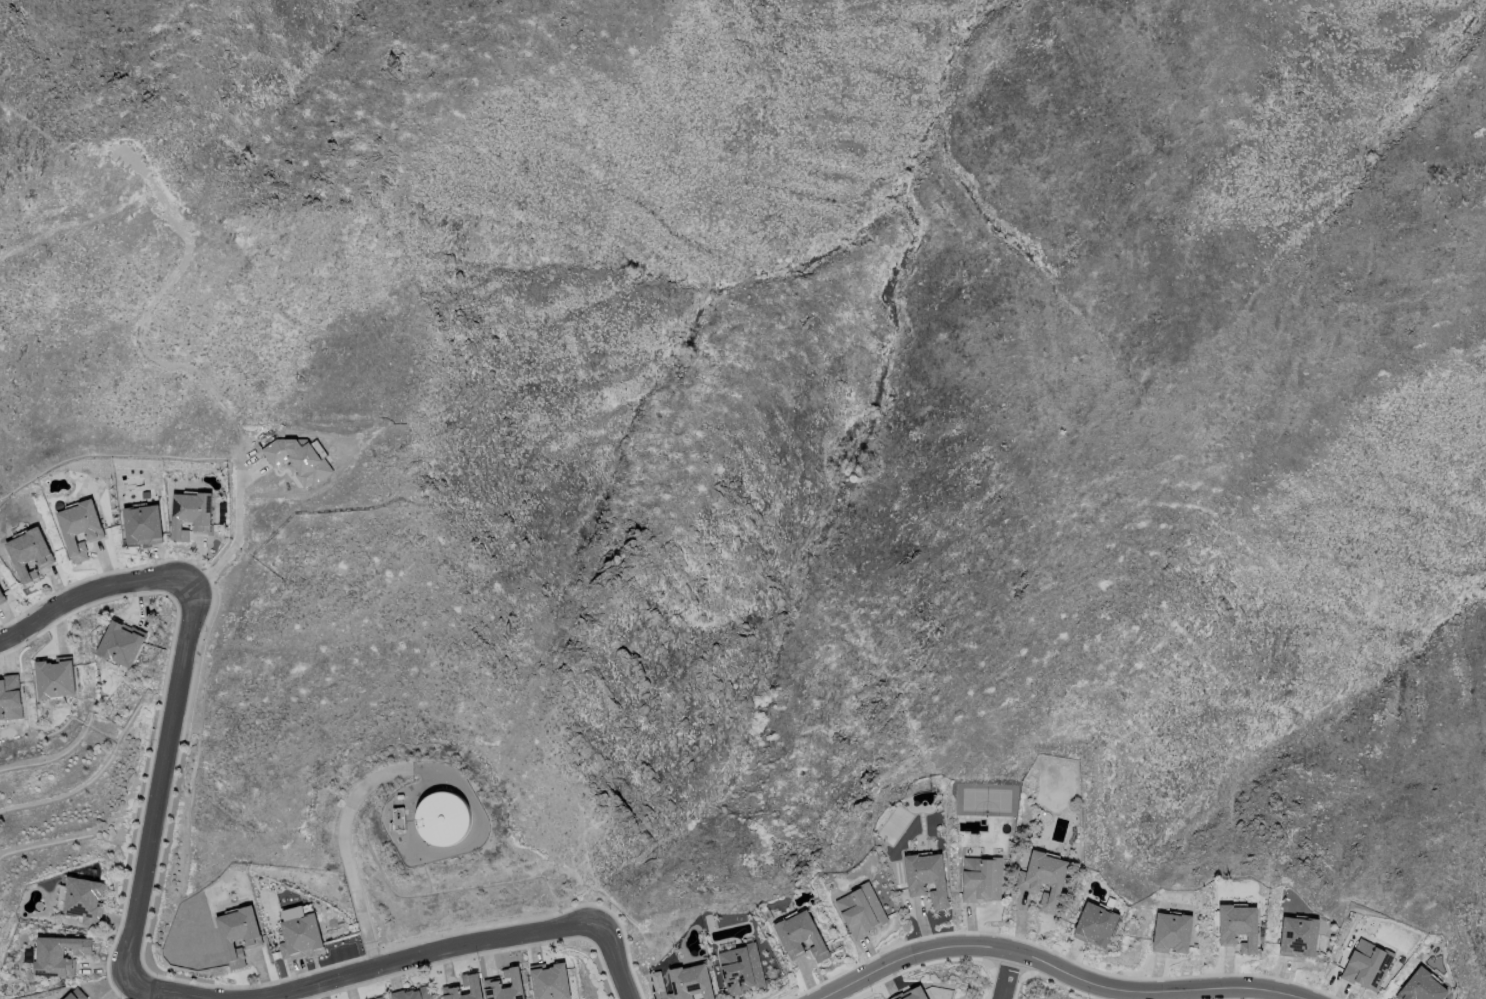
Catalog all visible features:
building: (191, 514)
building: (143, 524)
road: (236, 526)
building: (80, 528)
building: (29, 554)
building: (1, 598)
building: (118, 641)
road: (183, 674)
building: (53, 677)
building: (9, 696)
building: (442, 818)
building: (397, 819)
building: (930, 877)
building: (982, 877)
building: (1045, 877)
building: (80, 899)
building: (863, 910)
building: (1097, 923)
building: (1240, 924)
building: (1174, 930)
building: (237, 934)
building: (1301, 934)
building: (298, 936)
building: (804, 936)
road: (469, 952)
building: (57, 955)
building: (1369, 963)
building: (742, 968)
road: (1056, 969)
road: (1007, 975)
building: (550, 981)
building: (656, 981)
building: (691, 982)
building: (492, 983)
building: (471, 986)
building: (1425, 986)
road: (176, 988)
building: (414, 993)
building: (76, 994)
building: (915, 994)
building: (381, 998)

